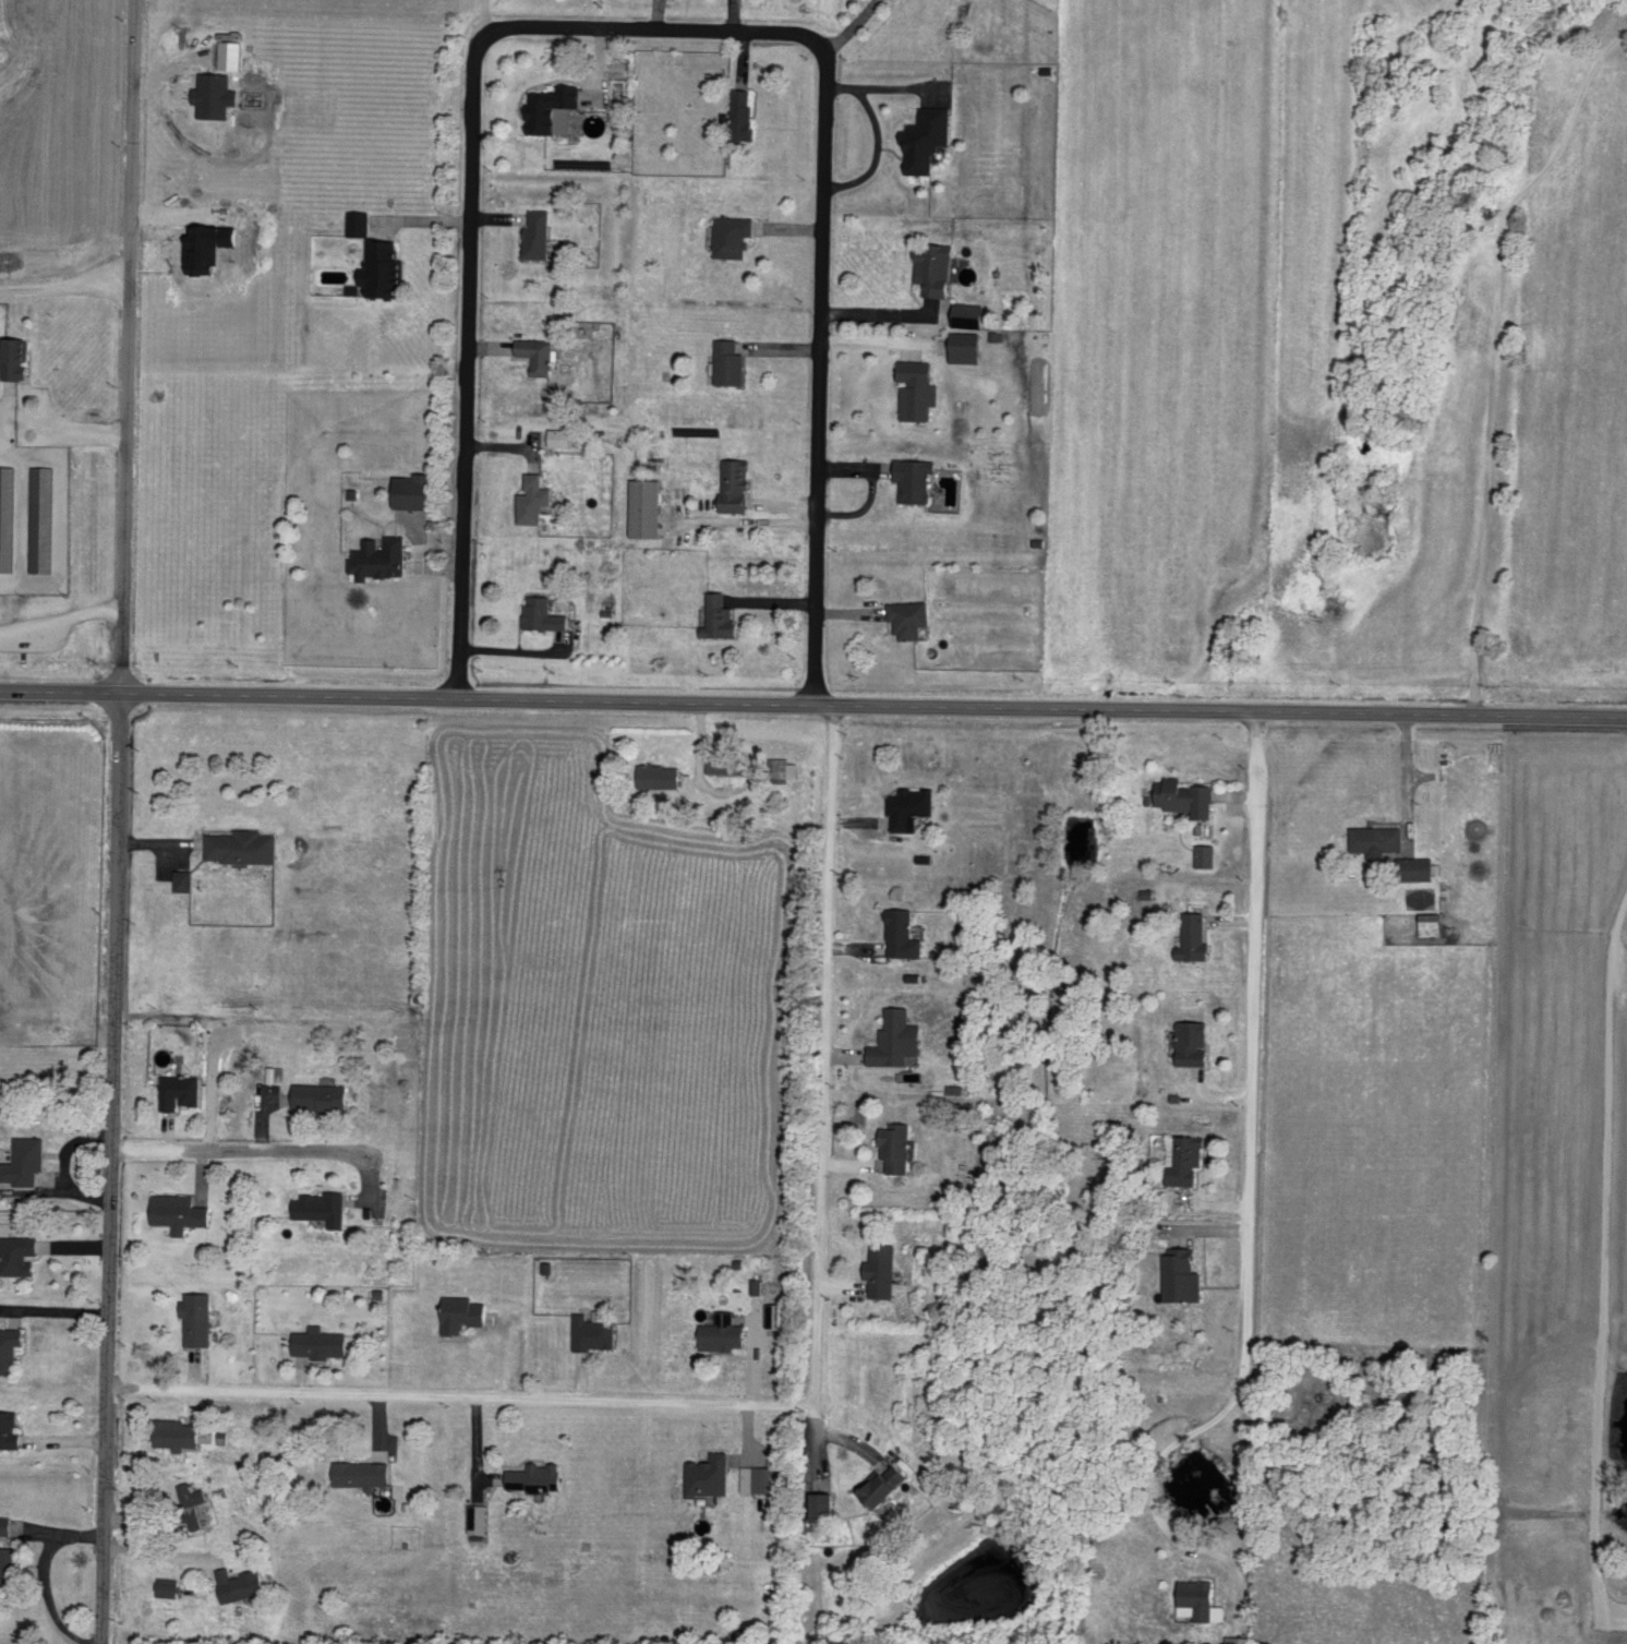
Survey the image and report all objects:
road: (646, 24)
road: (855, 35)
building: (233, 52)
building: (213, 94)
building: (557, 107)
building: (745, 112)
building: (929, 137)
building: (362, 221)
building: (541, 231)
building: (735, 235)
building: (386, 266)
building: (937, 267)
road: (65, 287)
building: (969, 313)
road: (877, 321)
building: (968, 346)
building: (540, 353)
road: (1494, 355)
building: (19, 356)
building: (732, 361)
building: (920, 387)
building: (561, 435)
road: (52, 451)
building: (738, 483)
building: (417, 490)
building: (537, 499)
building: (650, 506)
building: (9, 516)
building: (45, 517)
building: (383, 556)
building: (546, 613)
building: (723, 615)
building: (904, 616)
road: (812, 707)
building: (730, 764)
building: (784, 768)
road: (1408, 772)
building: (663, 775)
building: (1177, 795)
building: (906, 806)
road: (120, 821)
building: (1372, 839)
building: (245, 844)
building: (1202, 854)
building: (1411, 867)
building: (186, 879)
building: (1424, 923)
building: (897, 933)
building: (1190, 937)
building: (891, 1037)
building: (1186, 1042)
road: (1250, 1048)
road: (819, 1057)
building: (276, 1072)
building: (182, 1089)
building: (323, 1095)
building: (899, 1144)
road: (267, 1153)
building: (27, 1160)
building: (1181, 1160)
building: (324, 1207)
building: (183, 1210)
building: (20, 1253)
road: (1602, 1261)
building: (884, 1269)
building: (1177, 1275)
building: (759, 1284)
building: (467, 1312)
building: (779, 1313)
building: (201, 1318)
building: (598, 1329)
building: (726, 1332)
building: (323, 1341)
building: (11, 1347)
road: (458, 1397)
building: (11, 1428)
building: (180, 1432)
road: (833, 1439)
building: (365, 1472)
building: (711, 1474)
building: (538, 1475)
building: (762, 1477)
building: (884, 1484)
road: (1154, 1498)
building: (194, 1503)
building: (829, 1504)
building: (775, 1505)
building: (479, 1517)
building: (7, 1523)
road: (158, 1556)
building: (8, 1558)
building: (171, 1586)
building: (1195, 1600)
building: (1237, 1640)

